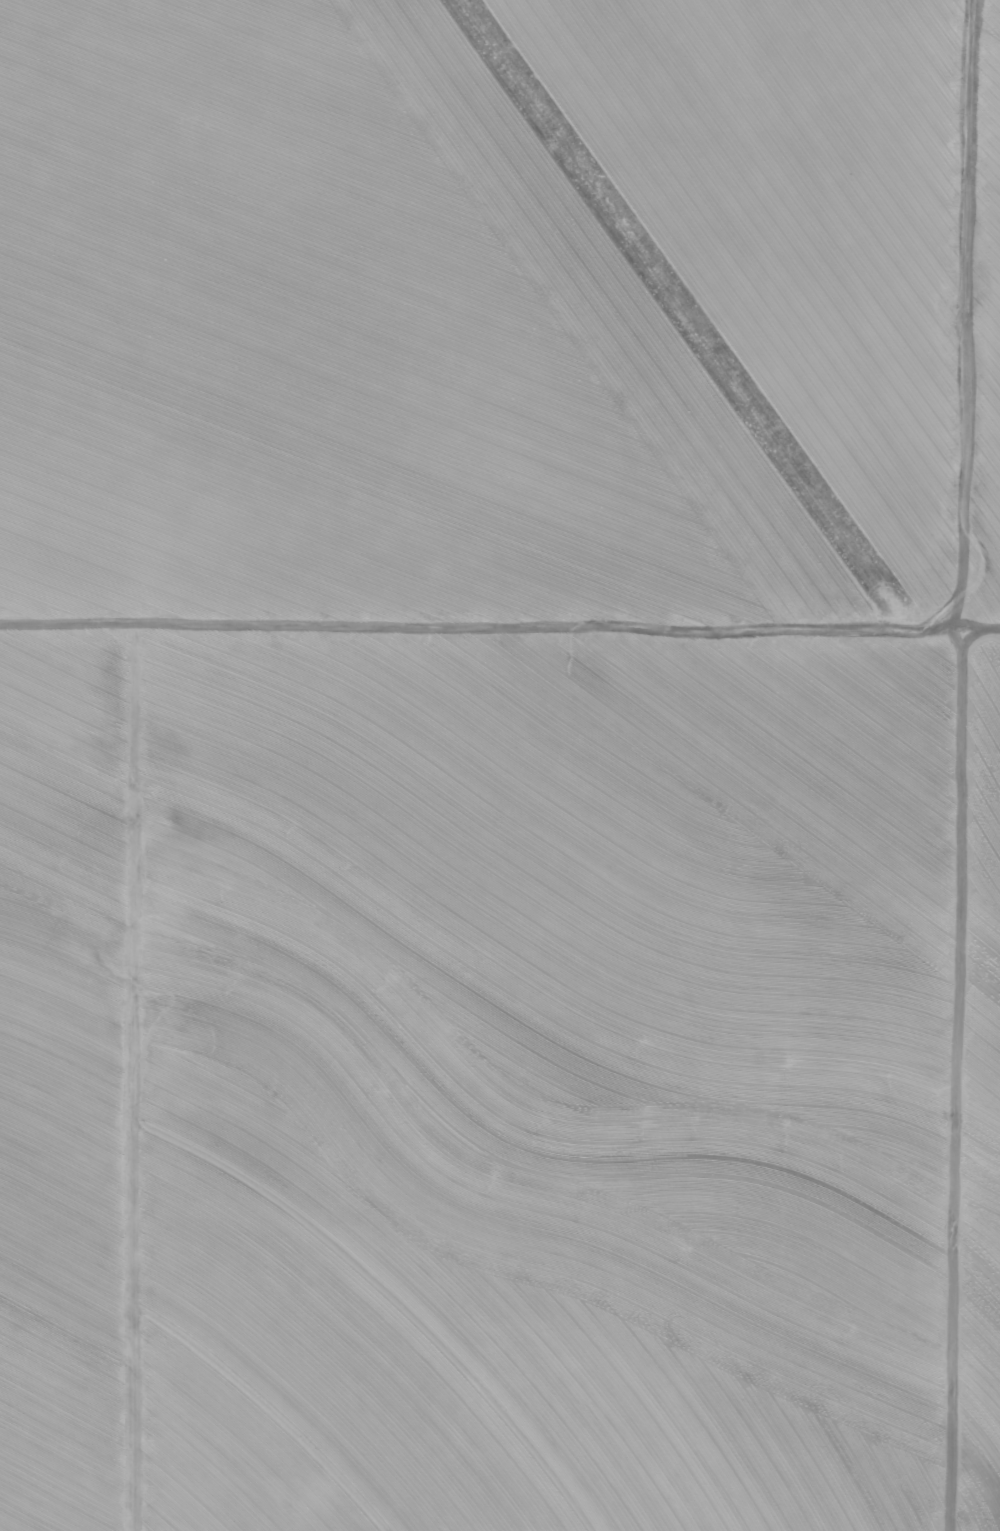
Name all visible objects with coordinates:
road: (940, 1044)

